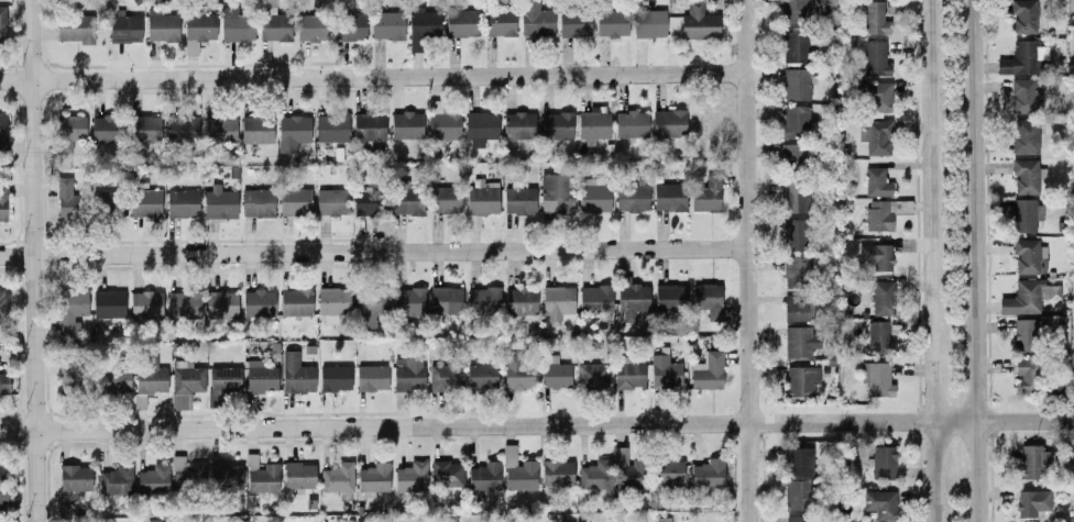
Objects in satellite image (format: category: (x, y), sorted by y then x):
building: (794, 10)
building: (1023, 15)
building: (874, 18)
building: (535, 19)
building: (461, 22)
building: (698, 22)
building: (501, 23)
building: (611, 23)
building: (648, 23)
building: (2, 24)
building: (234, 24)
building: (386, 24)
building: (573, 24)
building: (161, 25)
building: (274, 26)
building: (420, 26)
building: (311, 27)
building: (74, 29)
building: (124, 29)
building: (198, 30)
building: (794, 46)
building: (1022, 57)
building: (875, 58)
road: (370, 76)
building: (796, 84)
building: (1024, 96)
building: (877, 97)
building: (794, 121)
building: (442, 122)
building: (593, 122)
building: (668, 122)
building: (406, 124)
building: (556, 124)
building: (631, 124)
building: (518, 125)
building: (369, 126)
building: (331, 127)
building: (480, 127)
building: (106, 129)
building: (145, 129)
building: (219, 129)
building: (256, 129)
building: (182, 130)
building: (2, 131)
building: (69, 131)
building: (292, 132)
building: (1024, 135)
building: (876, 136)
building: (793, 155)
building: (1026, 175)
building: (876, 182)
building: (556, 193)
building: (669, 196)
building: (706, 196)
building: (592, 197)
building: (631, 197)
building: (793, 197)
building: (482, 198)
building: (67, 200)
building: (370, 200)
building: (446, 200)
building: (519, 200)
building: (2, 201)
building: (294, 201)
building: (331, 201)
building: (407, 201)
building: (145, 202)
building: (182, 202)
building: (256, 202)
building: (106, 203)
building: (219, 203)
building: (883, 213)
building: (1026, 214)
building: (796, 234)
road: (371, 252)
building: (876, 256)
building: (1028, 256)
road: (31, 260)
road: (744, 260)
road: (927, 260)
road: (974, 260)
building: (796, 271)
building: (595, 298)
building: (670, 298)
building: (708, 298)
building: (883, 298)
building: (482, 299)
building: (332, 300)
building: (446, 300)
building: (520, 300)
building: (183, 301)
building: (295, 301)
building: (407, 301)
building: (631, 301)
building: (3, 302)
building: (108, 303)
building: (257, 303)
building: (557, 303)
building: (145, 304)
building: (221, 304)
building: (370, 304)
building: (797, 307)
building: (70, 312)
building: (1024, 335)
building: (877, 337)
building: (797, 341)
building: (706, 370)
building: (665, 371)
building: (74, 373)
building: (296, 373)
building: (554, 373)
building: (150, 375)
building: (407, 375)
building: (628, 375)
building: (1026, 375)
building: (260, 376)
building: (481, 376)
building: (518, 376)
building: (592, 376)
building: (186, 377)
building: (335, 377)
building: (371, 377)
building: (445, 377)
building: (114, 378)
building: (222, 379)
building: (878, 379)
building: (801, 380)
building: (3, 384)
road: (1070, 422)
road: (533, 425)
building: (798, 459)
building: (1033, 460)
building: (883, 462)
building: (627, 469)
building: (517, 470)
building: (668, 471)
building: (186, 473)
building: (557, 473)
building: (708, 473)
building: (446, 474)
building: (226, 475)
building: (298, 475)
building: (594, 475)
building: (261, 476)
building: (410, 476)
building: (484, 476)
building: (75, 477)
building: (337, 477)
building: (153, 479)
building: (116, 480)
building: (1, 485)
building: (798, 495)
building: (1031, 502)
building: (879, 503)
building: (799, 519)
building: (154, 520)

